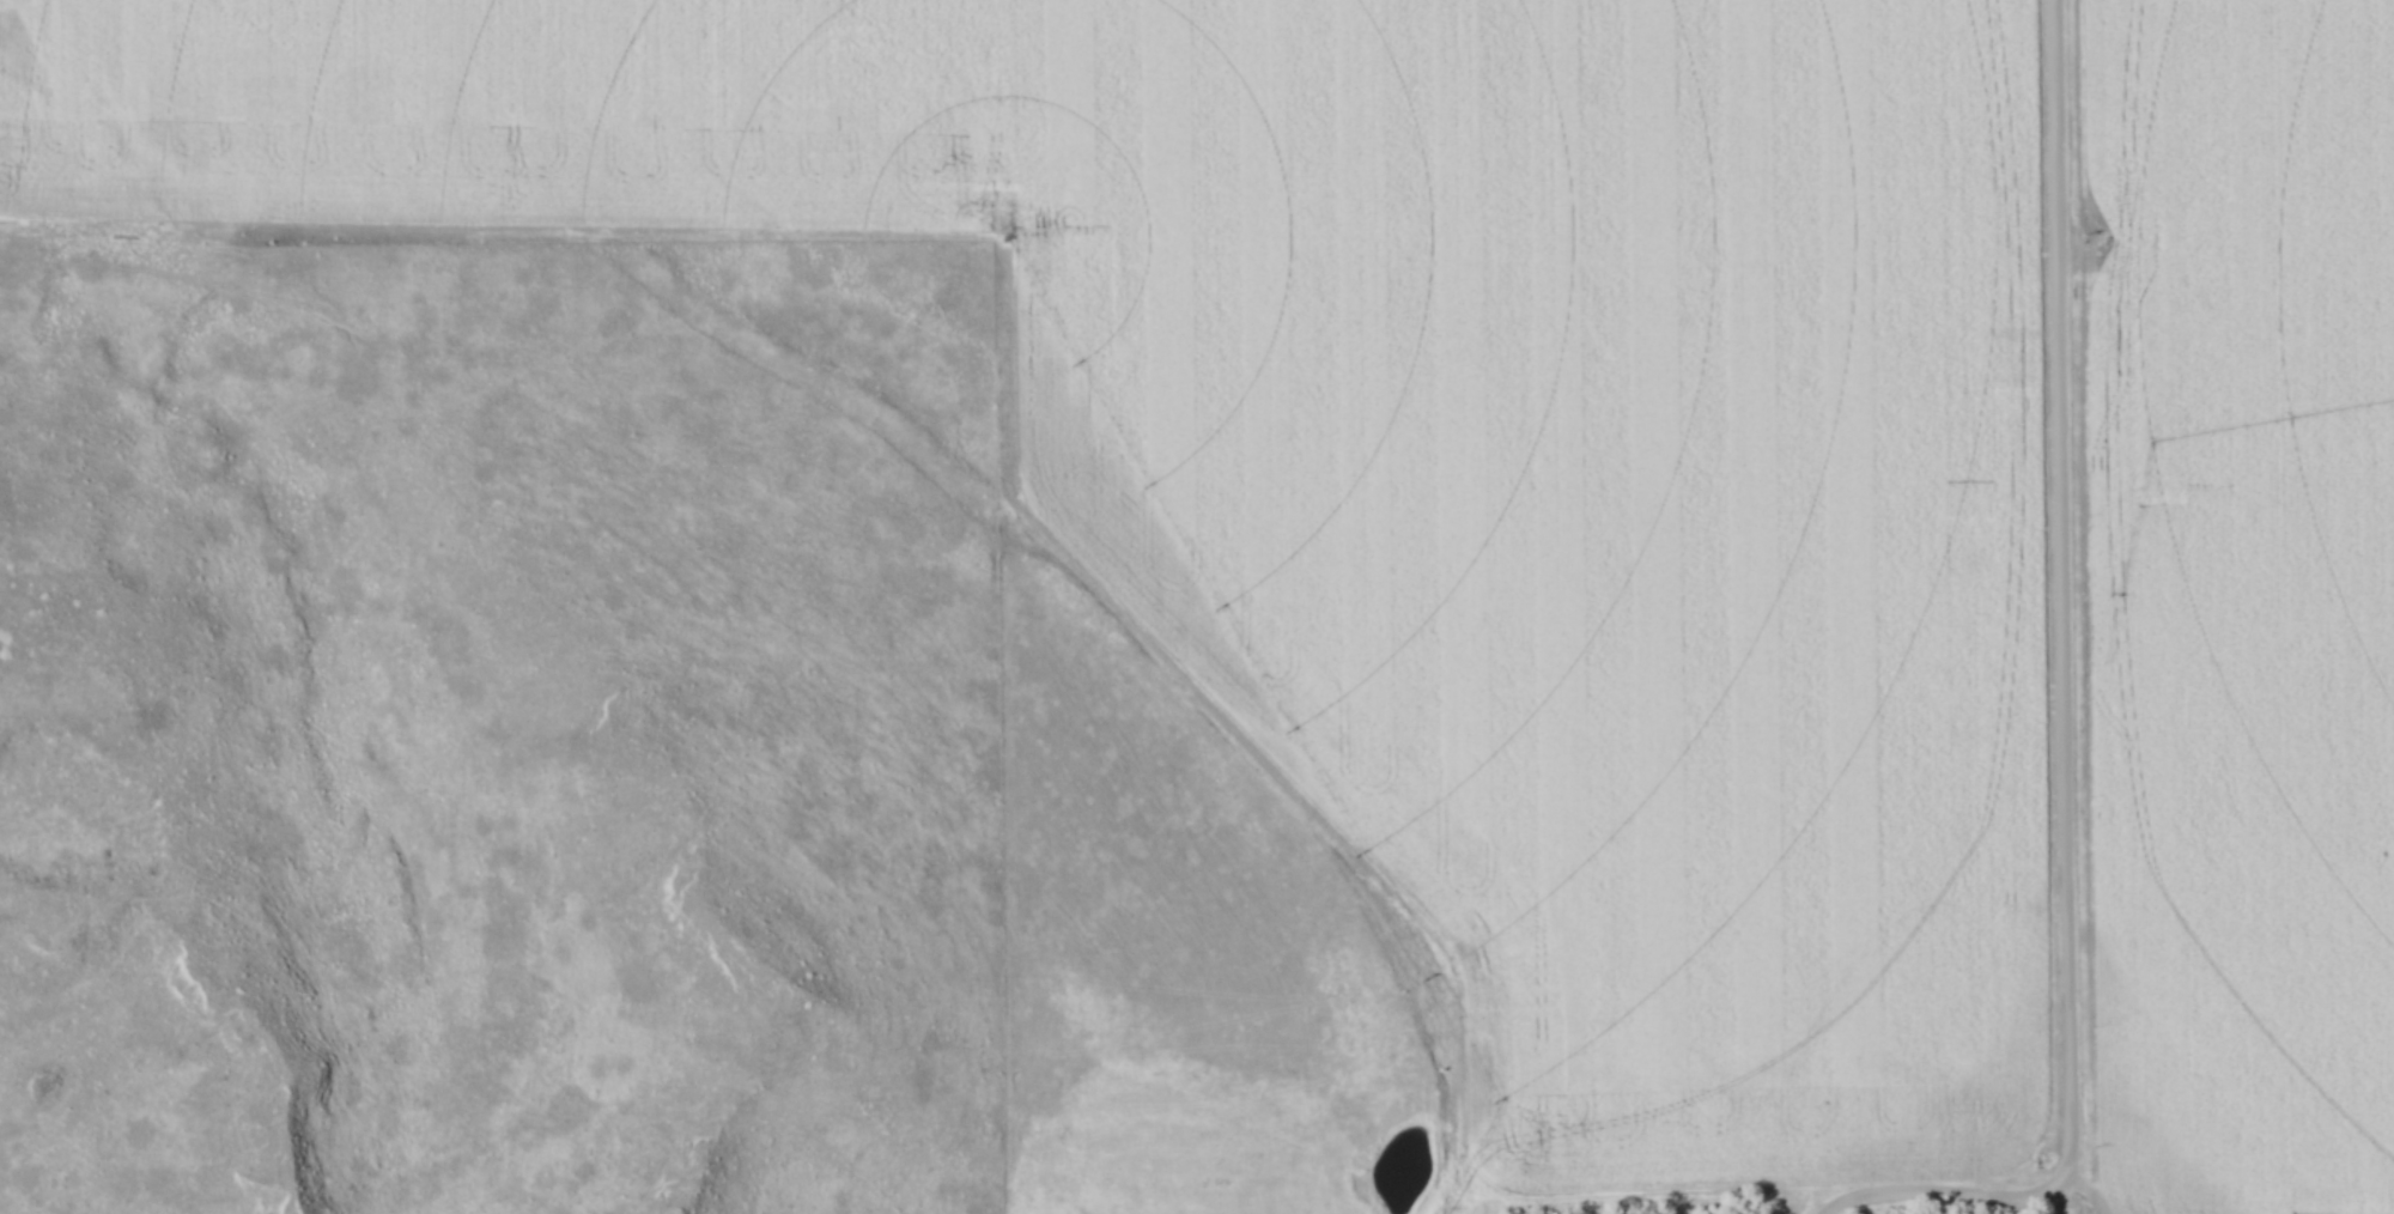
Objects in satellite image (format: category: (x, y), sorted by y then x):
crop: (1399, 443)
road: (2056, 583)
crop: (2242, 602)
road: (1384, 1119)
road: (1946, 1194)

